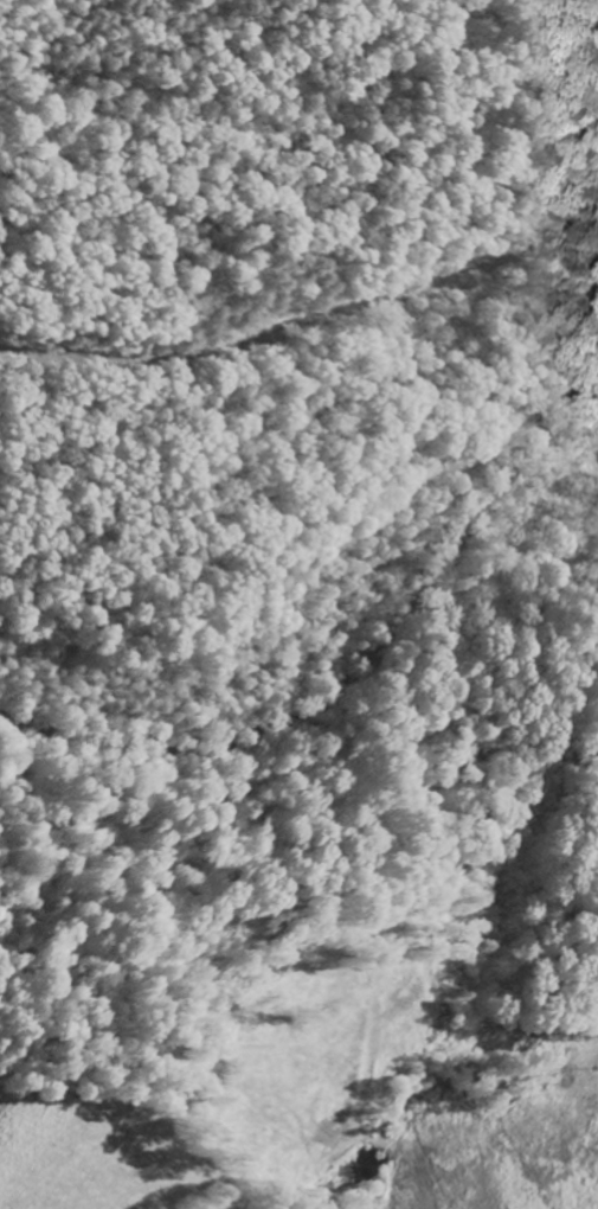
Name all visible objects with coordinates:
road: (307, 313)

